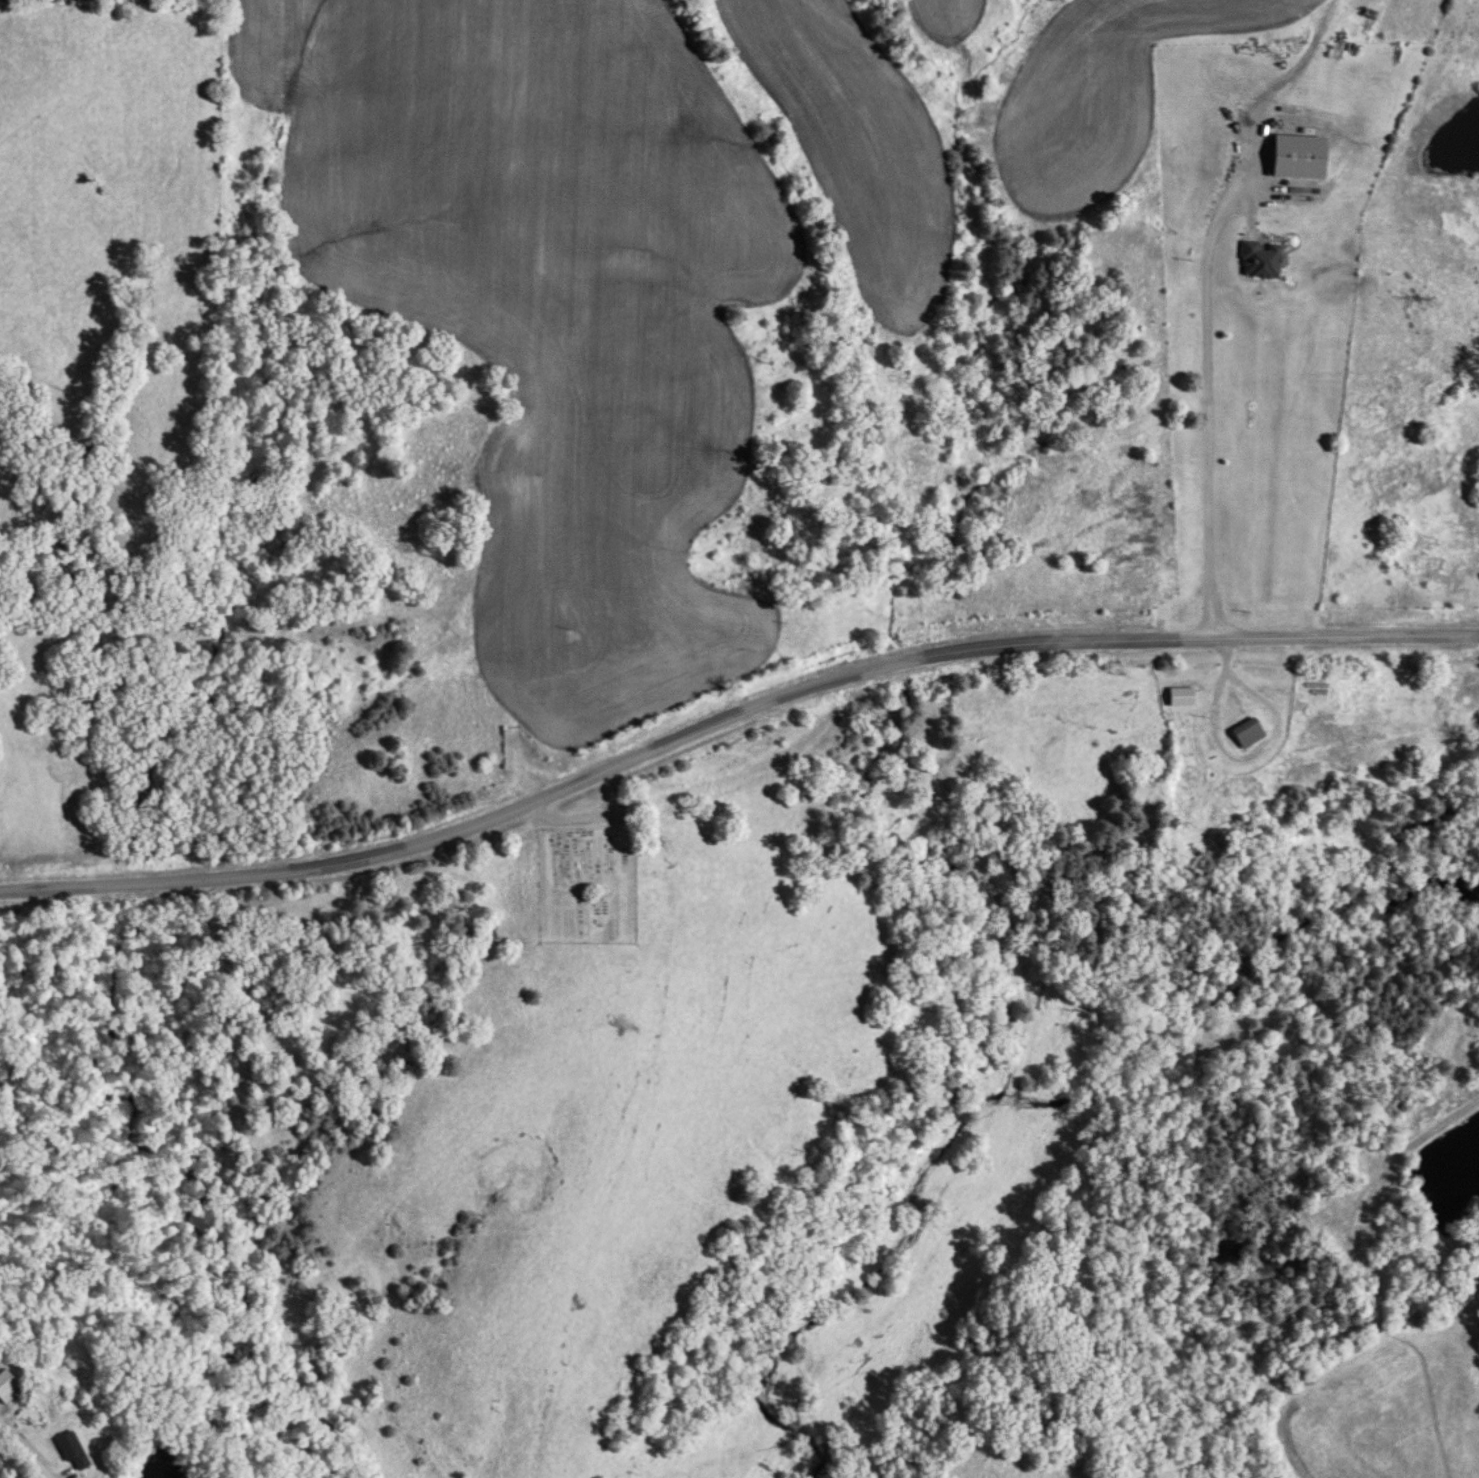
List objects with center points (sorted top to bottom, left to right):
building: (1261, 255)
building: (897, 376)
road: (1204, 407)
road: (731, 719)
building: (1249, 731)
park: (586, 882)
building: (8, 1386)
building: (72, 1449)
road: (23, 1453)

